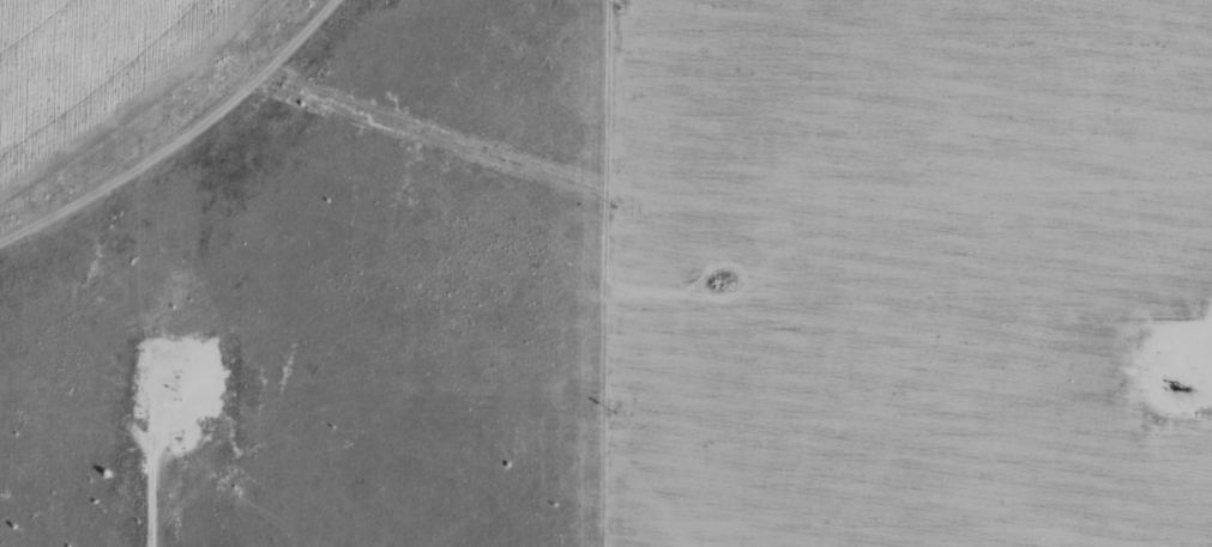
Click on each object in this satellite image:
petroleum well: (1182, 394)

